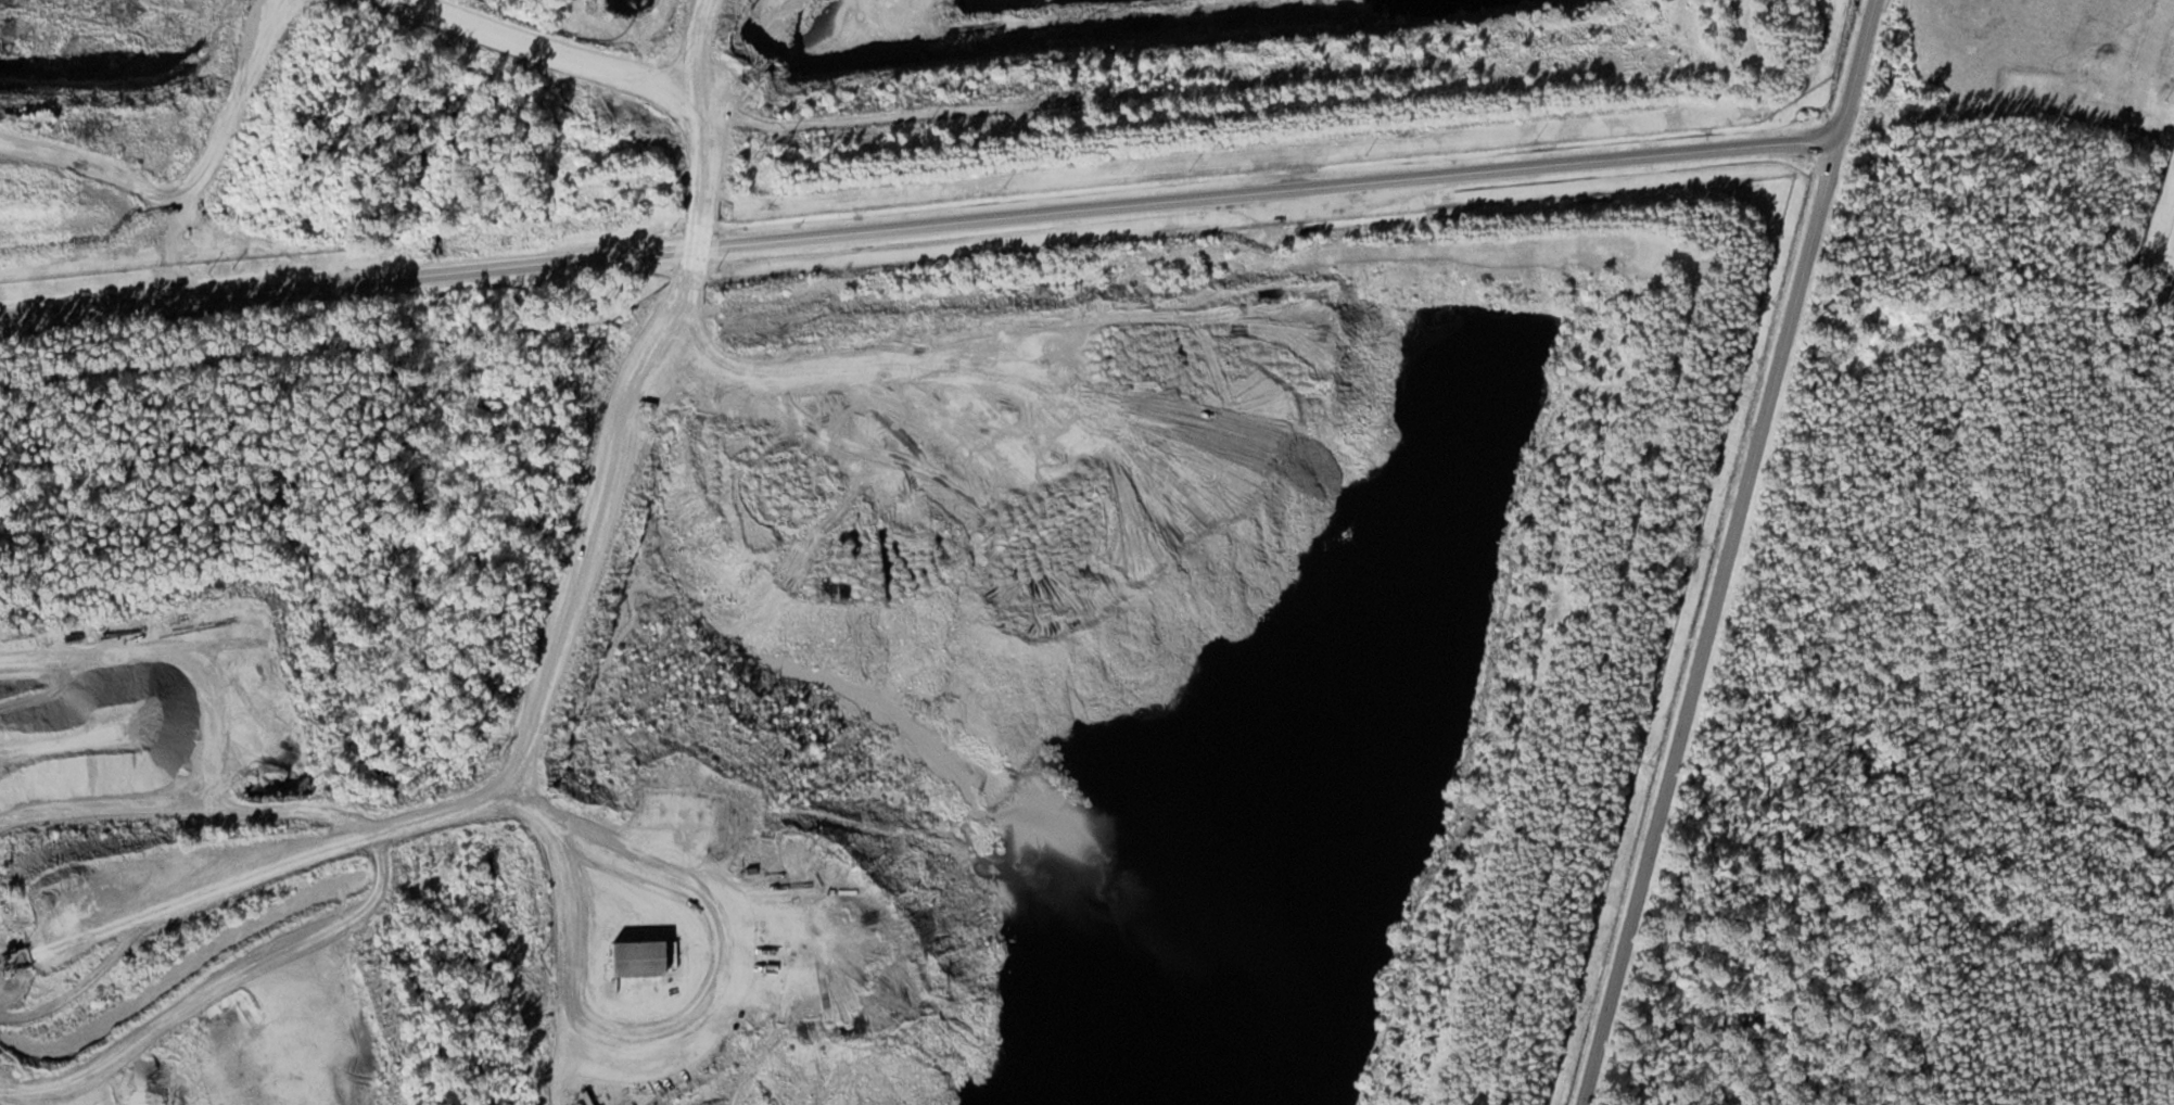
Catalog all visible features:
quarry: (565, 81)
road: (920, 226)
road: (1731, 552)
quarry: (1057, 674)
quarry: (180, 876)

